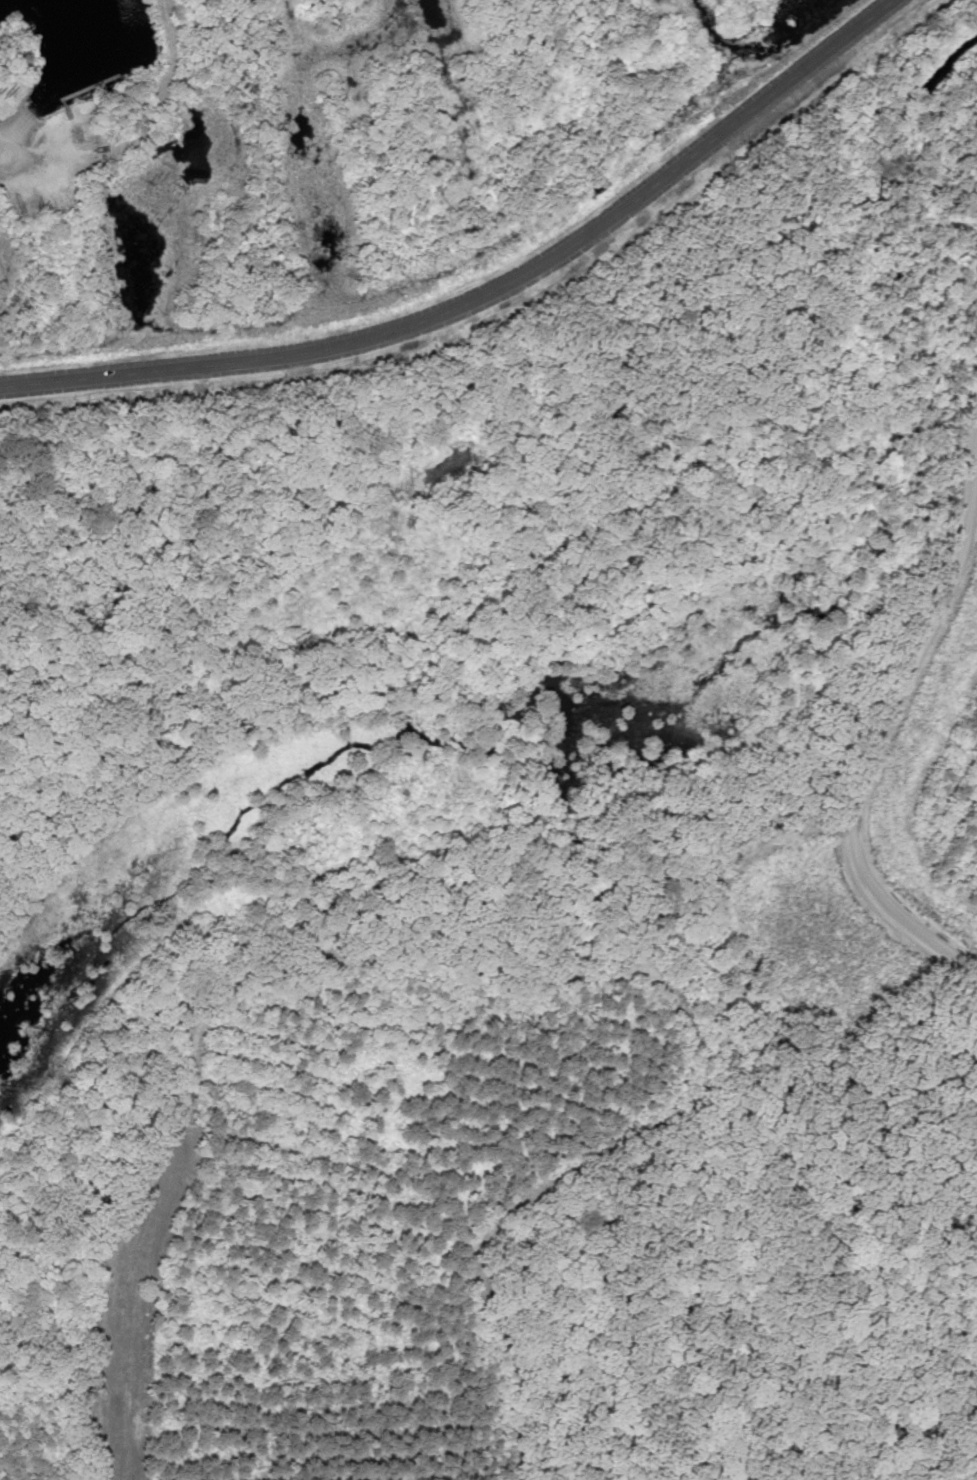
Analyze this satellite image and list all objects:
road: (4, 153)
road: (487, 294)
road: (881, 756)

